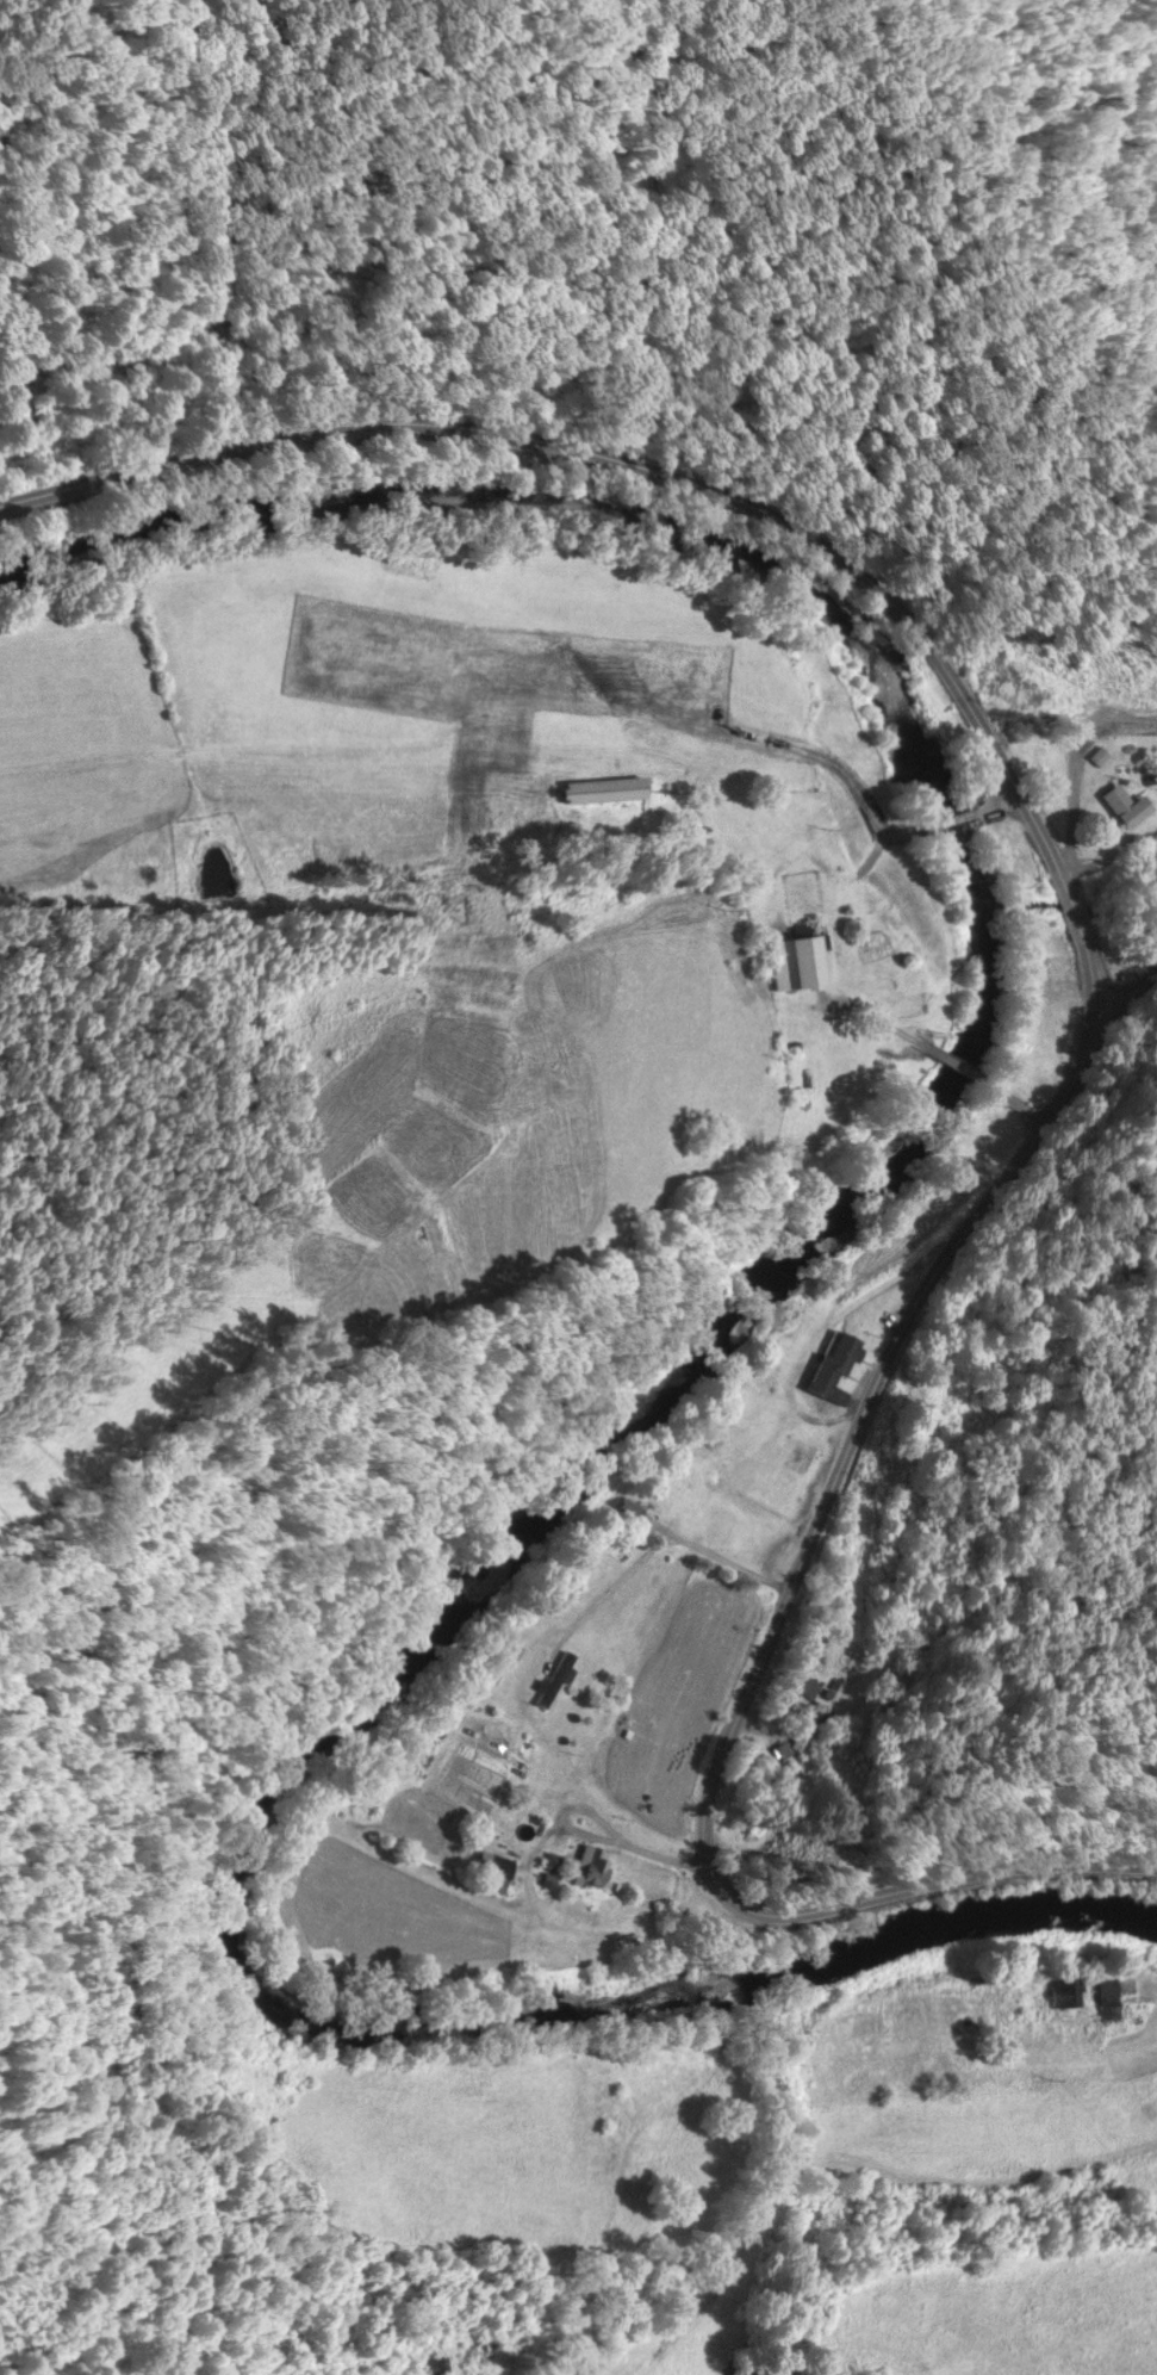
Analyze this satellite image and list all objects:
road: (626, 460)
building: (1093, 756)
building: (590, 792)
building: (1107, 799)
road: (1068, 904)
road: (1122, 961)
building: (788, 962)
road: (867, 1013)
road: (953, 1067)
road: (1020, 1106)
river: (689, 1348)
building: (826, 1368)
building: (621, 1513)
road: (648, 1550)
road: (783, 1599)
building: (547, 1680)
building: (805, 1689)
building: (802, 1729)
road: (623, 1844)
building: (545, 1862)
building: (481, 1872)
building: (1059, 1992)
building: (1100, 1998)
road: (840, 2160)
building: (429, 2365)

